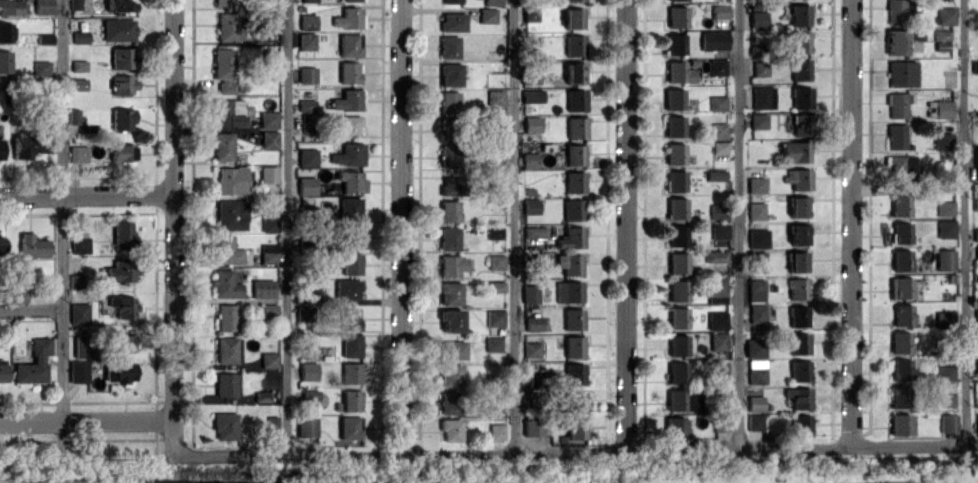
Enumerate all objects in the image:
building: (308, 0)
building: (351, 0)
building: (573, 0)
building: (669, 0)
building: (450, 1)
building: (223, 2)
building: (492, 2)
building: (75, 4)
building: (120, 5)
building: (43, 6)
building: (12, 7)
building: (719, 11)
building: (894, 11)
building: (530, 13)
building: (798, 14)
building: (487, 15)
building: (945, 15)
building: (676, 16)
building: (348, 18)
building: (572, 18)
building: (757, 19)
building: (307, 21)
building: (452, 21)
building: (266, 22)
building: (225, 26)
building: (118, 29)
building: (5, 32)
building: (941, 34)
building: (80, 36)
building: (44, 38)
building: (713, 40)
building: (306, 41)
building: (799, 42)
building: (896, 42)
building: (674, 43)
building: (349, 44)
building: (573, 45)
building: (448, 47)
building: (121, 58)
building: (5, 61)
building: (79, 65)
building: (717, 66)
building: (974, 66)
building: (42, 67)
building: (759, 68)
building: (224, 69)
building: (799, 69)
building: (348, 72)
building: (574, 72)
building: (678, 72)
building: (902, 73)
building: (306, 74)
building: (449, 74)
road: (31, 80)
building: (77, 84)
building: (124, 84)
building: (531, 95)
building: (802, 96)
building: (494, 97)
building: (762, 97)
building: (673, 98)
building: (346, 100)
building: (575, 100)
building: (448, 101)
building: (717, 102)
building: (897, 104)
building: (306, 105)
building: (942, 109)
building: (227, 112)
building: (74, 116)
building: (122, 118)
building: (268, 119)
building: (758, 121)
building: (347, 124)
building: (446, 124)
building: (531, 124)
building: (800, 124)
building: (674, 125)
building: (575, 127)
building: (717, 130)
building: (896, 136)
building: (268, 139)
building: (943, 141)
building: (222, 146)
building: (25, 147)
building: (719, 147)
building: (1, 148)
building: (795, 151)
building: (121, 152)
building: (78, 153)
building: (674, 153)
building: (348, 154)
building: (574, 154)
building: (449, 156)
building: (307, 157)
building: (529, 159)
building: (495, 160)
building: (976, 162)
building: (900, 166)
building: (268, 174)
building: (715, 175)
building: (798, 178)
building: (230, 180)
building: (350, 180)
building: (675, 181)
building: (574, 182)
building: (449, 185)
building: (755, 185)
building: (305, 186)
road: (87, 193)
building: (900, 205)
building: (530, 206)
building: (798, 206)
building: (348, 208)
building: (676, 208)
building: (945, 208)
building: (572, 209)
road: (63, 210)
building: (755, 210)
building: (448, 211)
building: (718, 211)
building: (230, 214)
building: (269, 222)
road: (850, 222)
road: (964, 222)
road: (738, 224)
road: (625, 225)
road: (514, 226)
road: (401, 227)
road: (168, 228)
road: (285, 228)
building: (945, 228)
building: (719, 230)
building: (534, 231)
building: (493, 232)
building: (901, 232)
building: (798, 233)
building: (122, 234)
building: (975, 234)
building: (676, 235)
building: (354, 236)
building: (570, 237)
building: (448, 238)
building: (757, 238)
building: (80, 243)
building: (1, 244)
building: (32, 246)
building: (225, 250)
building: (976, 252)
building: (268, 253)
building: (715, 256)
building: (756, 258)
building: (944, 259)
building: (900, 260)
building: (496, 261)
building: (797, 261)
building: (678, 262)
building: (350, 263)
building: (569, 263)
building: (451, 265)
building: (120, 271)
building: (75, 281)
building: (225, 284)
building: (495, 286)
building: (900, 287)
building: (262, 288)
building: (346, 288)
building: (797, 288)
building: (678, 290)
building: (716, 290)
building: (756, 290)
building: (18, 291)
building: (568, 291)
building: (449, 292)
building: (529, 293)
building: (123, 305)
road: (31, 309)
building: (268, 311)
building: (78, 313)
building: (757, 313)
building: (902, 314)
building: (797, 315)
building: (226, 317)
building: (494, 317)
building: (677, 317)
building: (943, 317)
building: (348, 318)
building: (572, 318)
building: (450, 320)
building: (716, 320)
building: (533, 322)
building: (976, 335)
building: (718, 341)
building: (121, 342)
building: (900, 342)
building: (799, 343)
building: (492, 344)
building: (350, 345)
building: (678, 345)
building: (82, 346)
building: (573, 346)
building: (754, 348)
building: (225, 349)
building: (452, 349)
building: (531, 349)
building: (268, 359)
building: (34, 362)
building: (976, 363)
building: (719, 369)
building: (901, 369)
building: (3, 370)
building: (799, 370)
building: (78, 371)
building: (307, 371)
building: (756, 371)
building: (119, 372)
building: (350, 372)
building: (677, 372)
building: (946, 372)
building: (574, 373)
building: (449, 375)
building: (226, 384)
building: (308, 394)
building: (262, 396)
building: (898, 396)
building: (798, 397)
building: (946, 399)
building: (350, 400)
building: (682, 400)
building: (575, 401)
building: (449, 402)
building: (755, 403)
building: (486, 406)
road: (88, 420)
building: (754, 421)
building: (721, 422)
building: (948, 423)
building: (977, 423)
building: (899, 424)
building: (224, 425)
building: (800, 425)
building: (272, 426)
building: (306, 426)
building: (348, 427)
building: (531, 427)
building: (673, 427)
building: (450, 429)
building: (496, 431)
building: (575, 431)
road: (577, 451)

